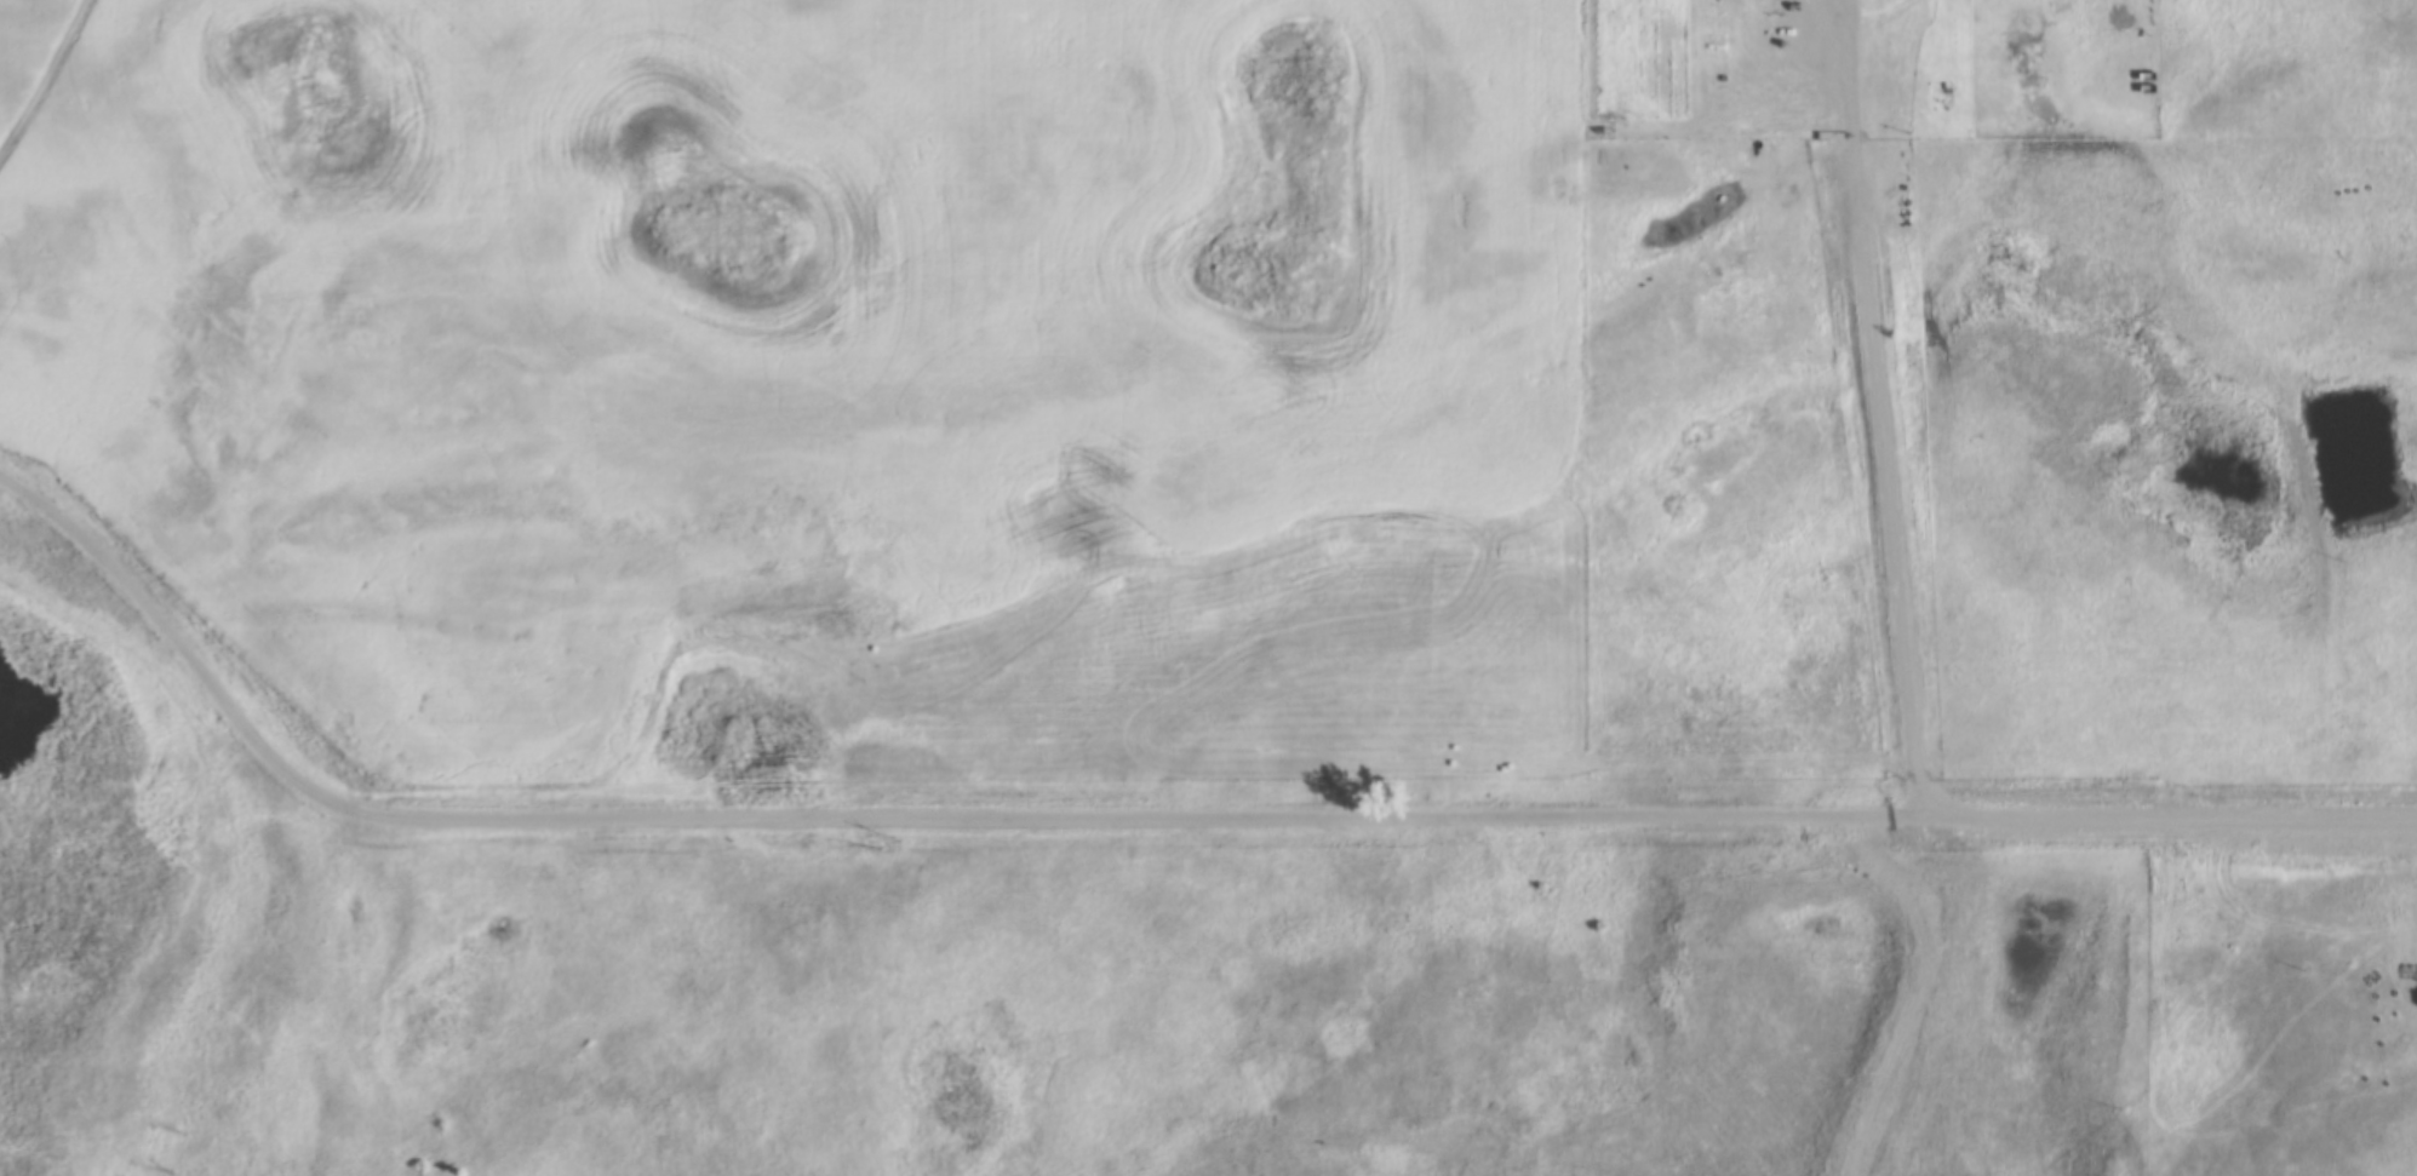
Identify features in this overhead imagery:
road: (1888, 405)
road: (2170, 809)
road: (892, 816)
road: (1909, 987)

